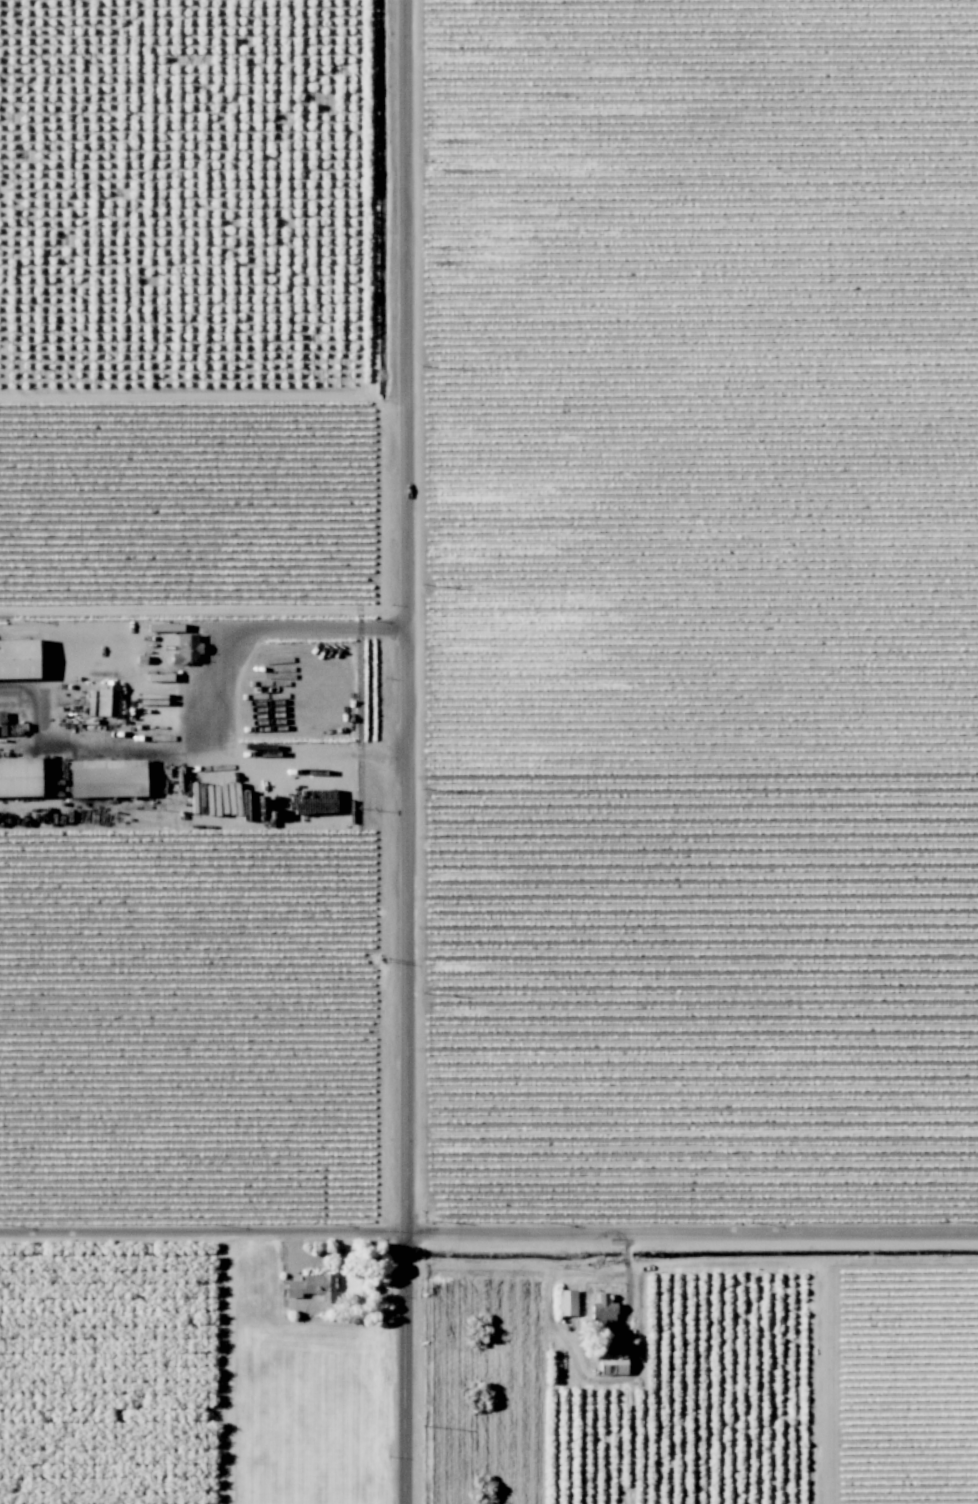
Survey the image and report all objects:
road: (371, 382)
building: (187, 648)
building: (19, 658)
building: (108, 699)
road: (216, 703)
road: (411, 752)
building: (20, 776)
building: (107, 777)
road: (488, 1239)
building: (313, 1286)
building: (567, 1301)
building: (604, 1311)
building: (613, 1363)
road: (229, 1370)
crop: (119, 1377)

